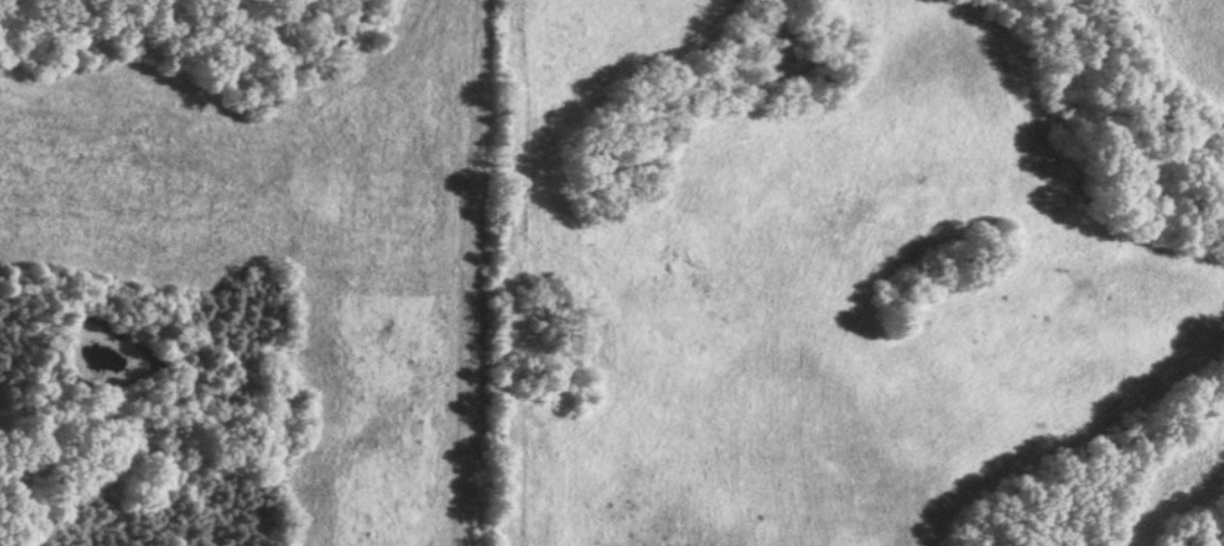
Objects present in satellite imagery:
road: (485, 202)

